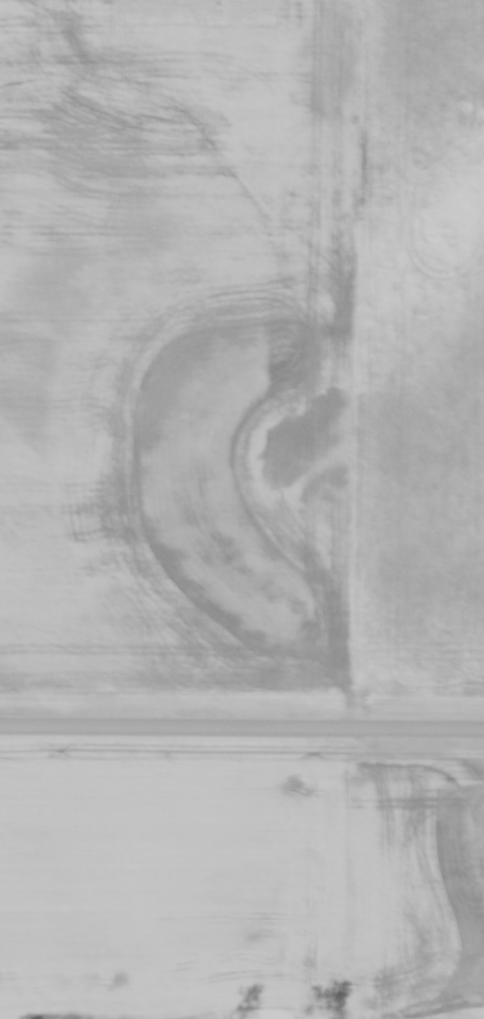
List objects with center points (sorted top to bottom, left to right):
road: (242, 723)

